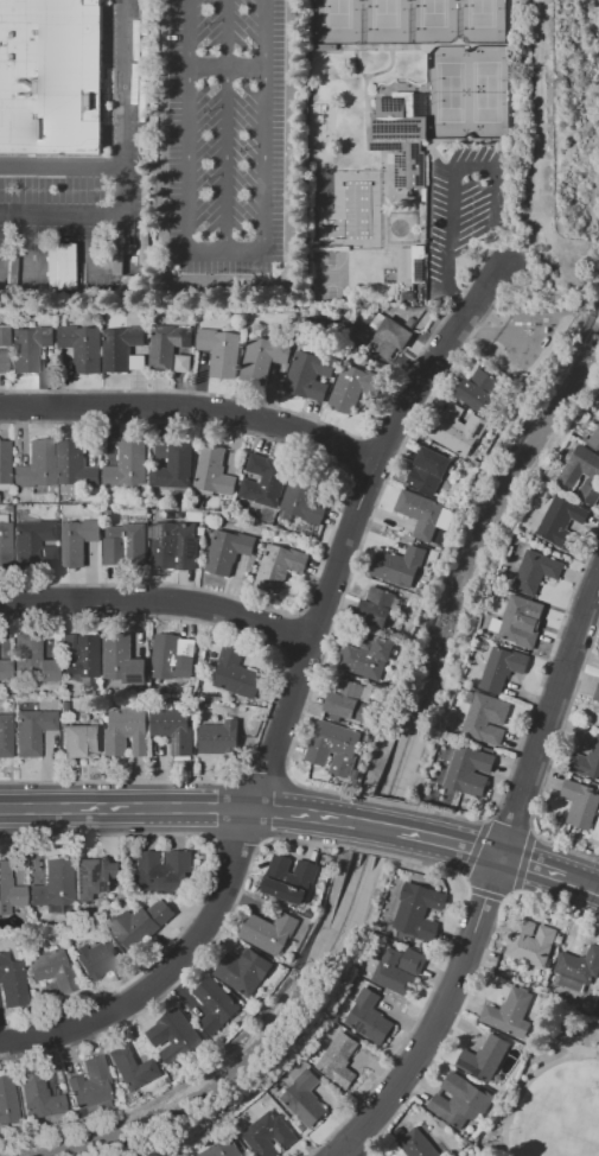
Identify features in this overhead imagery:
park: (408, 21)
road: (227, 66)
building: (52, 76)
park: (469, 91)
road: (225, 125)
building: (401, 134)
road: (263, 144)
road: (187, 145)
road: (68, 172)
road: (454, 173)
road: (135, 199)
parking lot: (463, 217)
road: (66, 218)
building: (144, 241)
building: (117, 250)
building: (414, 262)
park: (332, 277)
building: (409, 296)
building: (377, 319)
building: (230, 324)
building: (391, 330)
building: (4, 336)
building: (166, 345)
building: (28, 347)
building: (82, 347)
building: (120, 347)
building: (219, 351)
building: (266, 355)
building: (135, 361)
building: (4, 362)
building: (308, 375)
building: (351, 387)
building: (474, 388)
road: (191, 408)
building: (597, 412)
road: (304, 415)
building: (455, 432)
building: (594, 438)
road: (383, 442)
road: (358, 456)
building: (4, 463)
building: (76, 464)
building: (37, 465)
building: (128, 465)
building: (174, 468)
building: (432, 469)
building: (214, 471)
building: (571, 474)
building: (265, 479)
road: (363, 484)
building: (43, 490)
building: (306, 497)
building: (7, 508)
building: (97, 508)
building: (108, 509)
building: (422, 513)
building: (55, 514)
building: (125, 517)
road: (336, 517)
building: (561, 522)
building: (527, 531)
building: (75, 539)
building: (5, 542)
building: (33, 544)
building: (126, 545)
building: (174, 545)
building: (228, 551)
road: (355, 559)
building: (279, 565)
building: (399, 565)
building: (535, 571)
road: (157, 599)
building: (376, 606)
road: (312, 620)
building: (516, 623)
road: (288, 630)
building: (70, 644)
building: (367, 654)
road: (300, 655)
building: (173, 656)
building: (87, 658)
building: (31, 660)
building: (122, 660)
building: (502, 667)
building: (5, 669)
building: (236, 673)
building: (6, 693)
road: (275, 693)
building: (597, 693)
road: (288, 697)
building: (469, 697)
building: (351, 701)
building: (62, 704)
road: (531, 711)
building: (486, 718)
building: (176, 729)
building: (32, 731)
building: (126, 732)
building: (5, 735)
building: (219, 737)
building: (78, 739)
building: (336, 748)
road: (549, 760)
building: (587, 762)
building: (469, 770)
road: (268, 774)
road: (390, 802)
building: (581, 804)
road: (199, 806)
road: (509, 825)
road: (232, 840)
road: (448, 841)
road: (473, 847)
road: (368, 850)
road: (525, 862)
road: (531, 866)
building: (165, 871)
building: (94, 877)
building: (289, 878)
road: (490, 878)
road: (581, 883)
road: (206, 884)
building: (55, 887)
building: (8, 890)
road: (485, 894)
building: (161, 910)
building: (415, 914)
building: (135, 927)
building: (268, 932)
building: (530, 942)
building: (423, 946)
building: (96, 958)
road: (197, 959)
building: (414, 961)
building: (579, 964)
building: (243, 970)
building: (52, 971)
building: (389, 972)
building: (11, 983)
road: (469, 987)
road: (431, 992)
building: (215, 1004)
building: (598, 1004)
building: (510, 1012)
building: (370, 1016)
building: (179, 1036)
building: (317, 1056)
building: (484, 1056)
building: (338, 1059)
building: (133, 1067)
road: (529, 1080)
building: (89, 1084)
park: (555, 1093)
building: (39, 1097)
building: (304, 1098)
building: (7, 1100)
building: (460, 1100)
building: (14, 1128)
building: (269, 1133)
road: (350, 1141)
building: (418, 1143)
building: (223, 1148)
road: (316, 1152)
road: (342, 1152)
building: (461, 1155)

